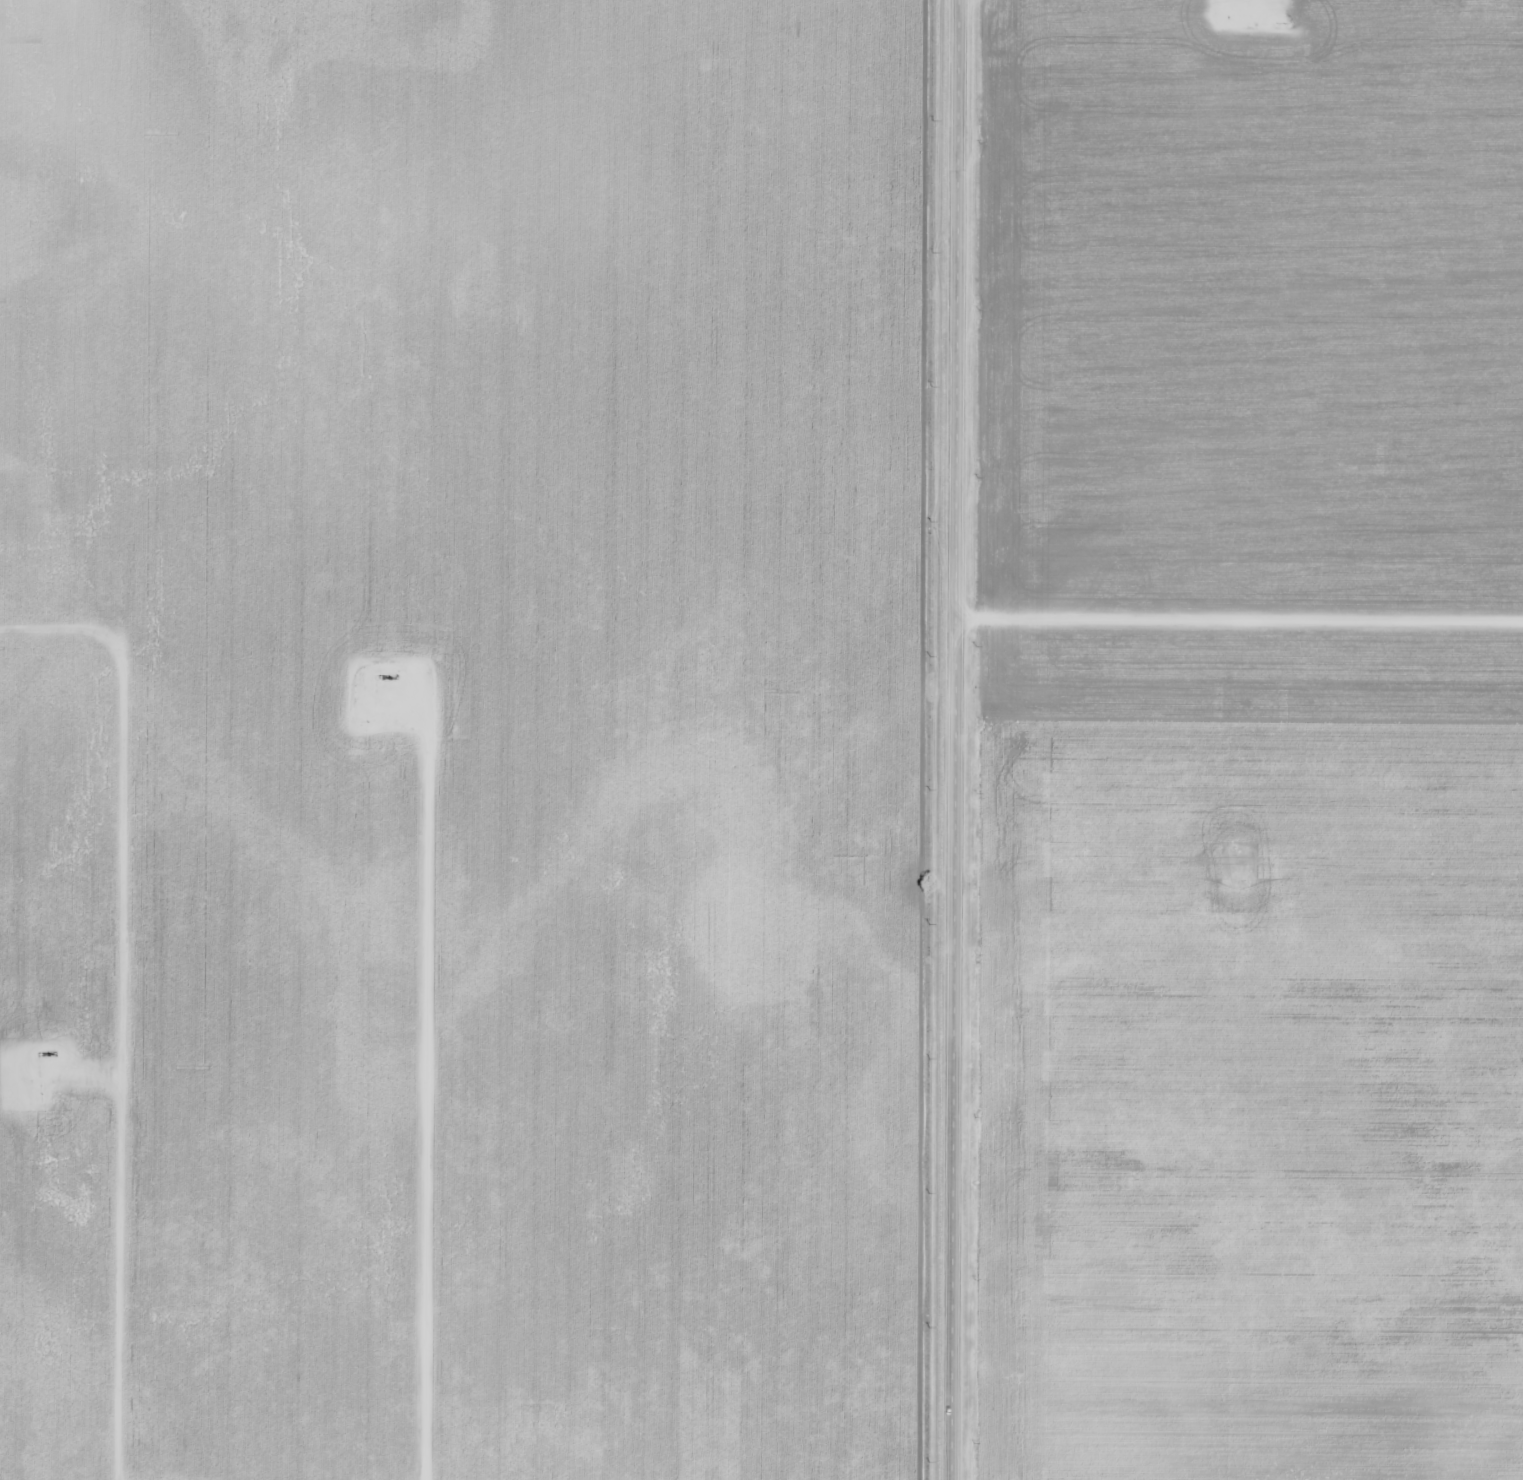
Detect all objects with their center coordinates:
road: (1239, 622)
road: (954, 740)
road: (120, 1005)
road: (68, 1075)
road: (422, 1078)

